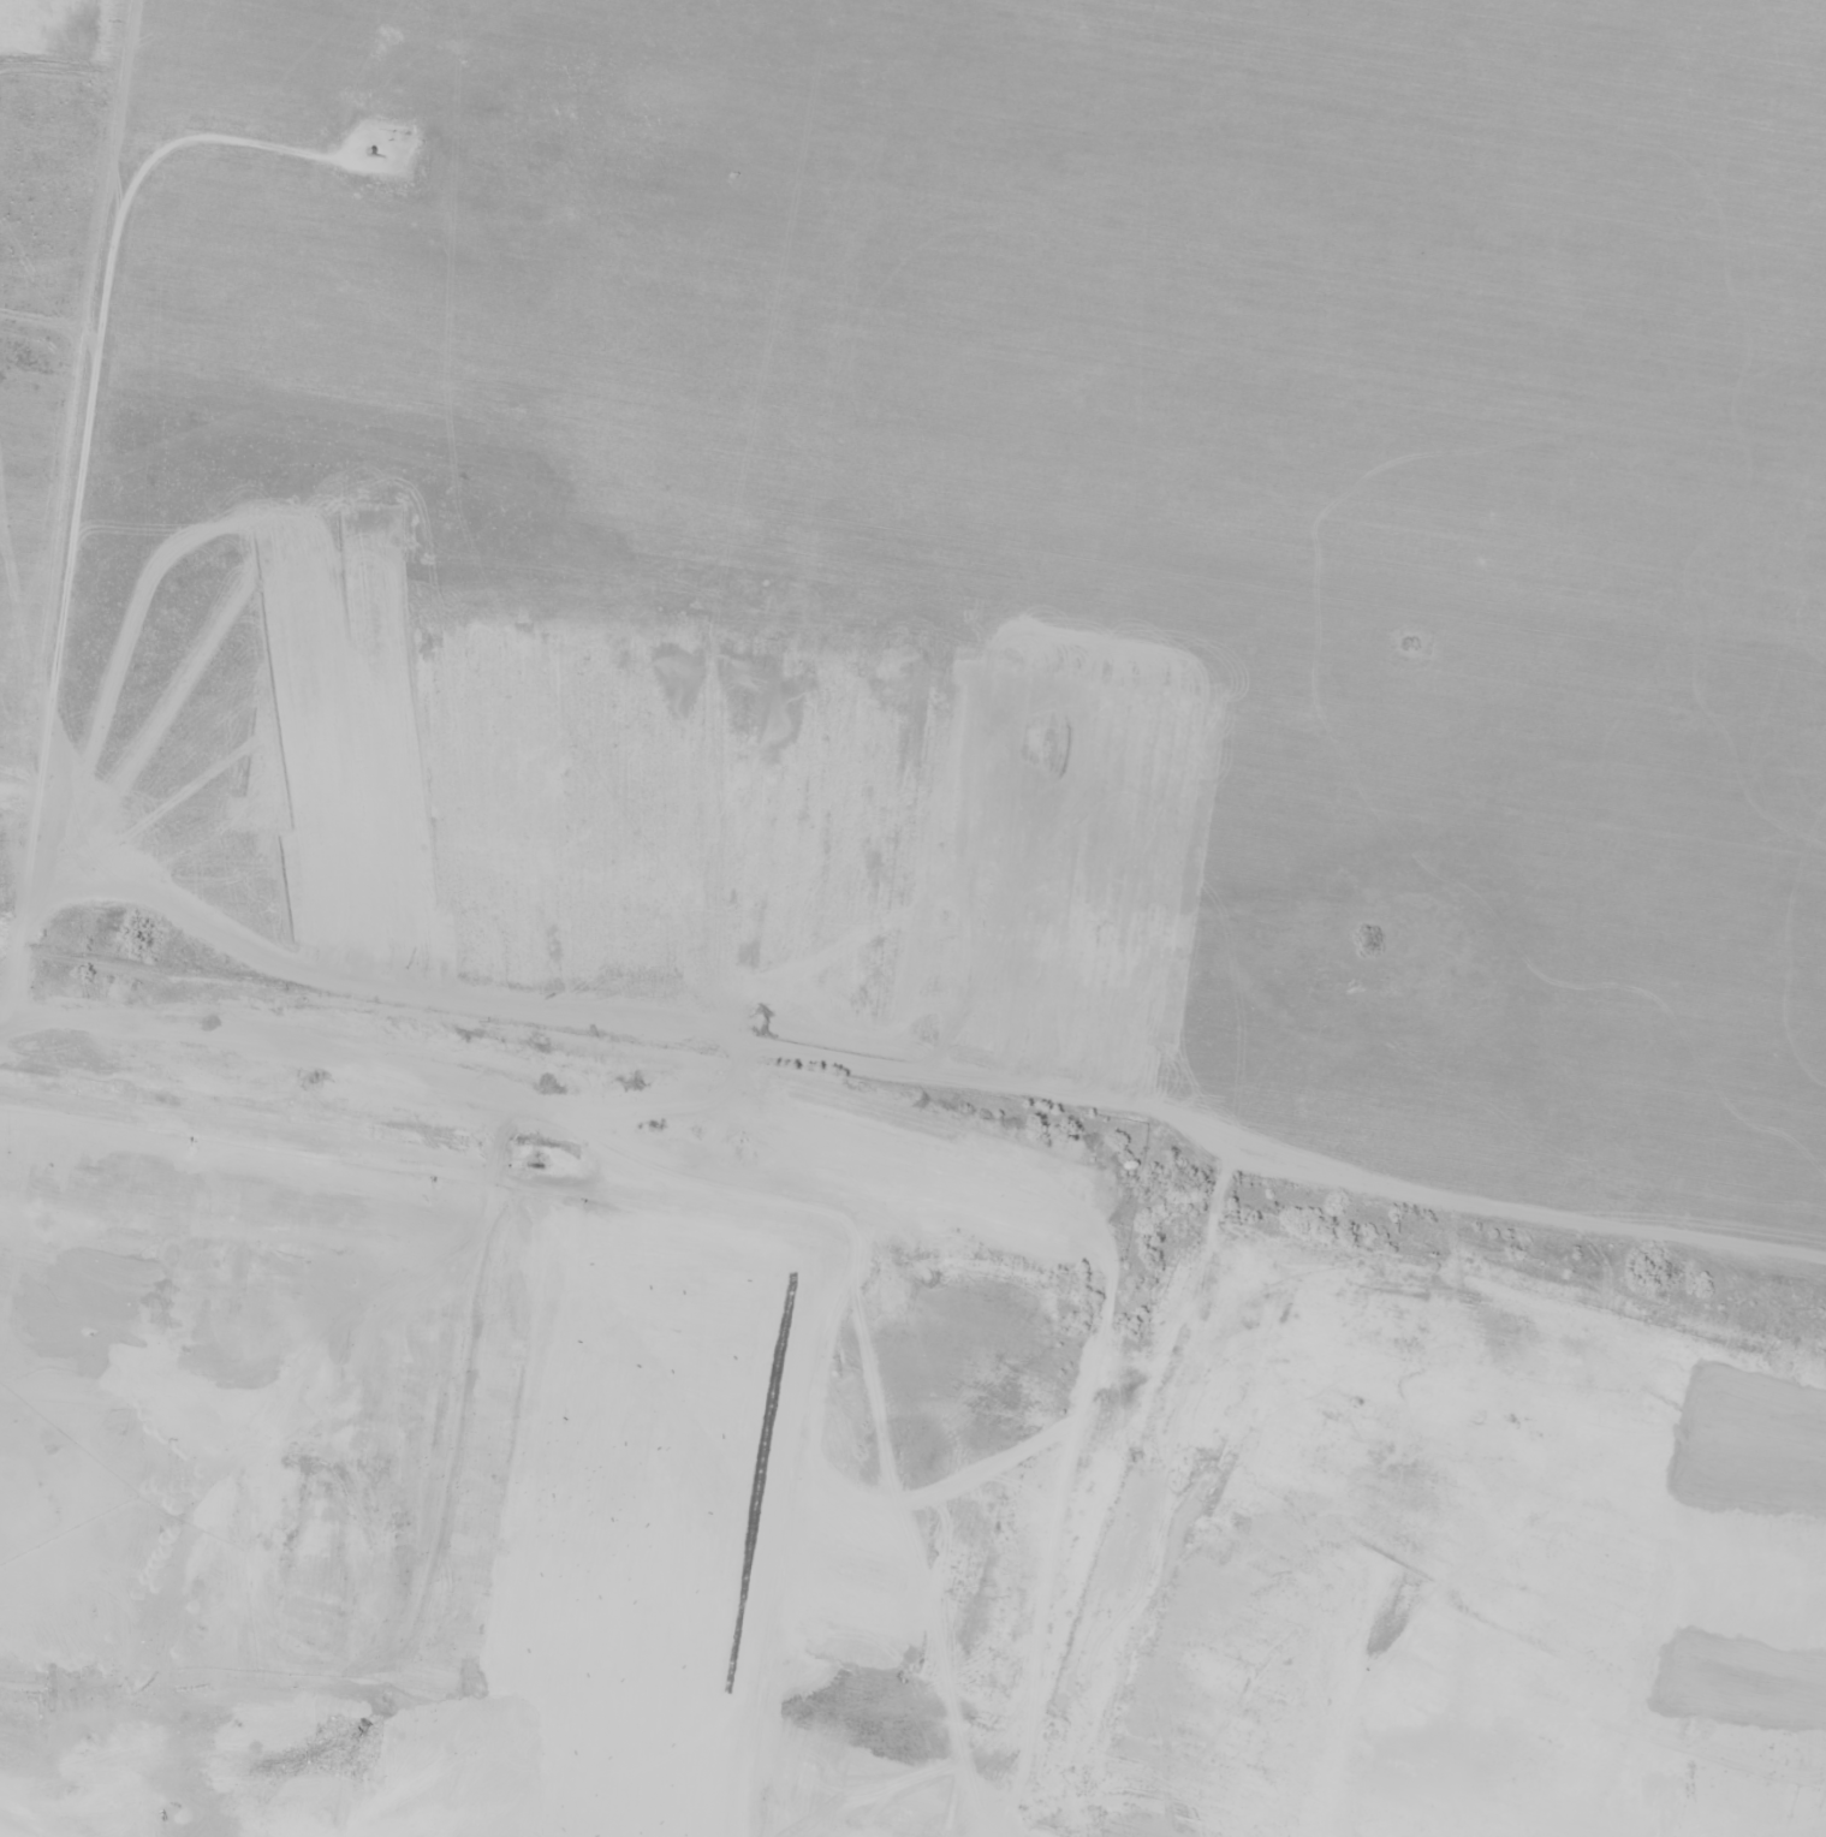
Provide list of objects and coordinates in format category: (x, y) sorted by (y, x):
road: (93, 509)
road: (769, 581)
road: (1638, 917)
road: (344, 1114)
road: (1255, 1261)

